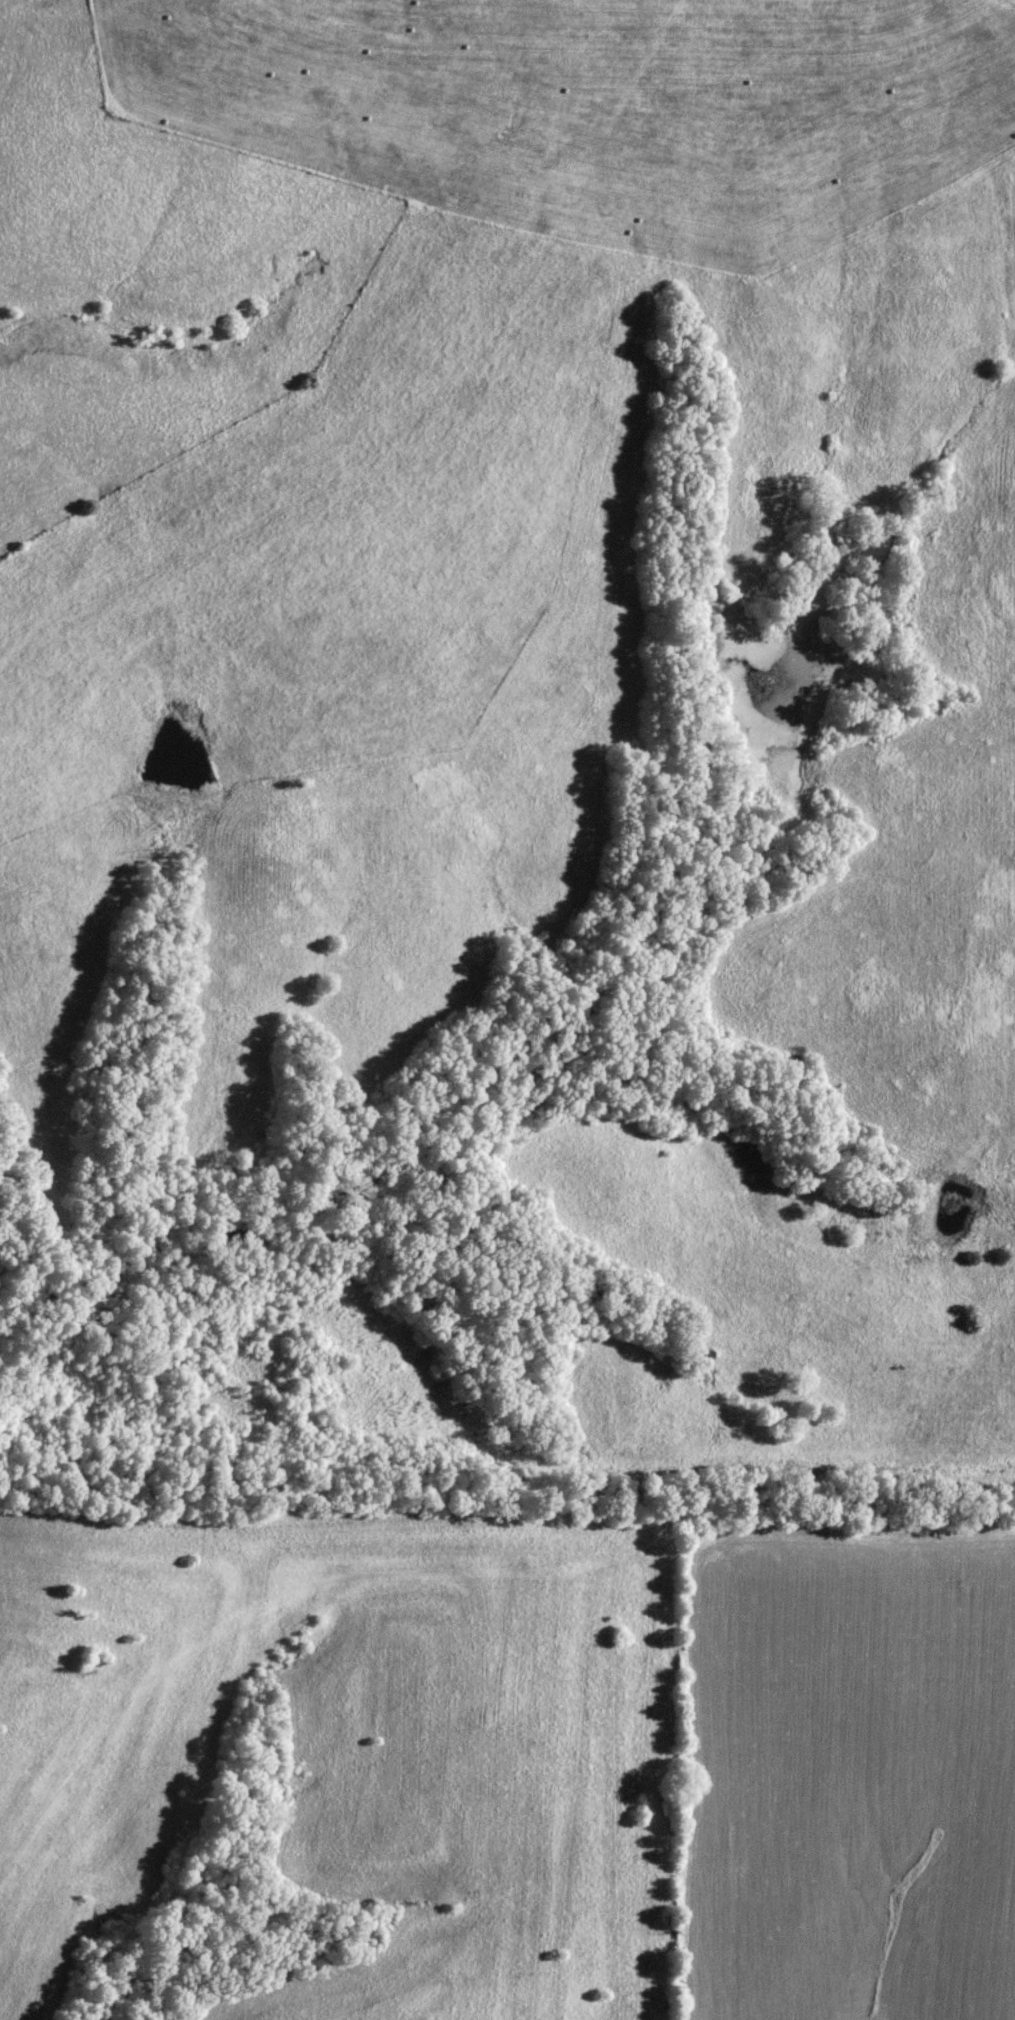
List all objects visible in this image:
road: (807, 1456)

